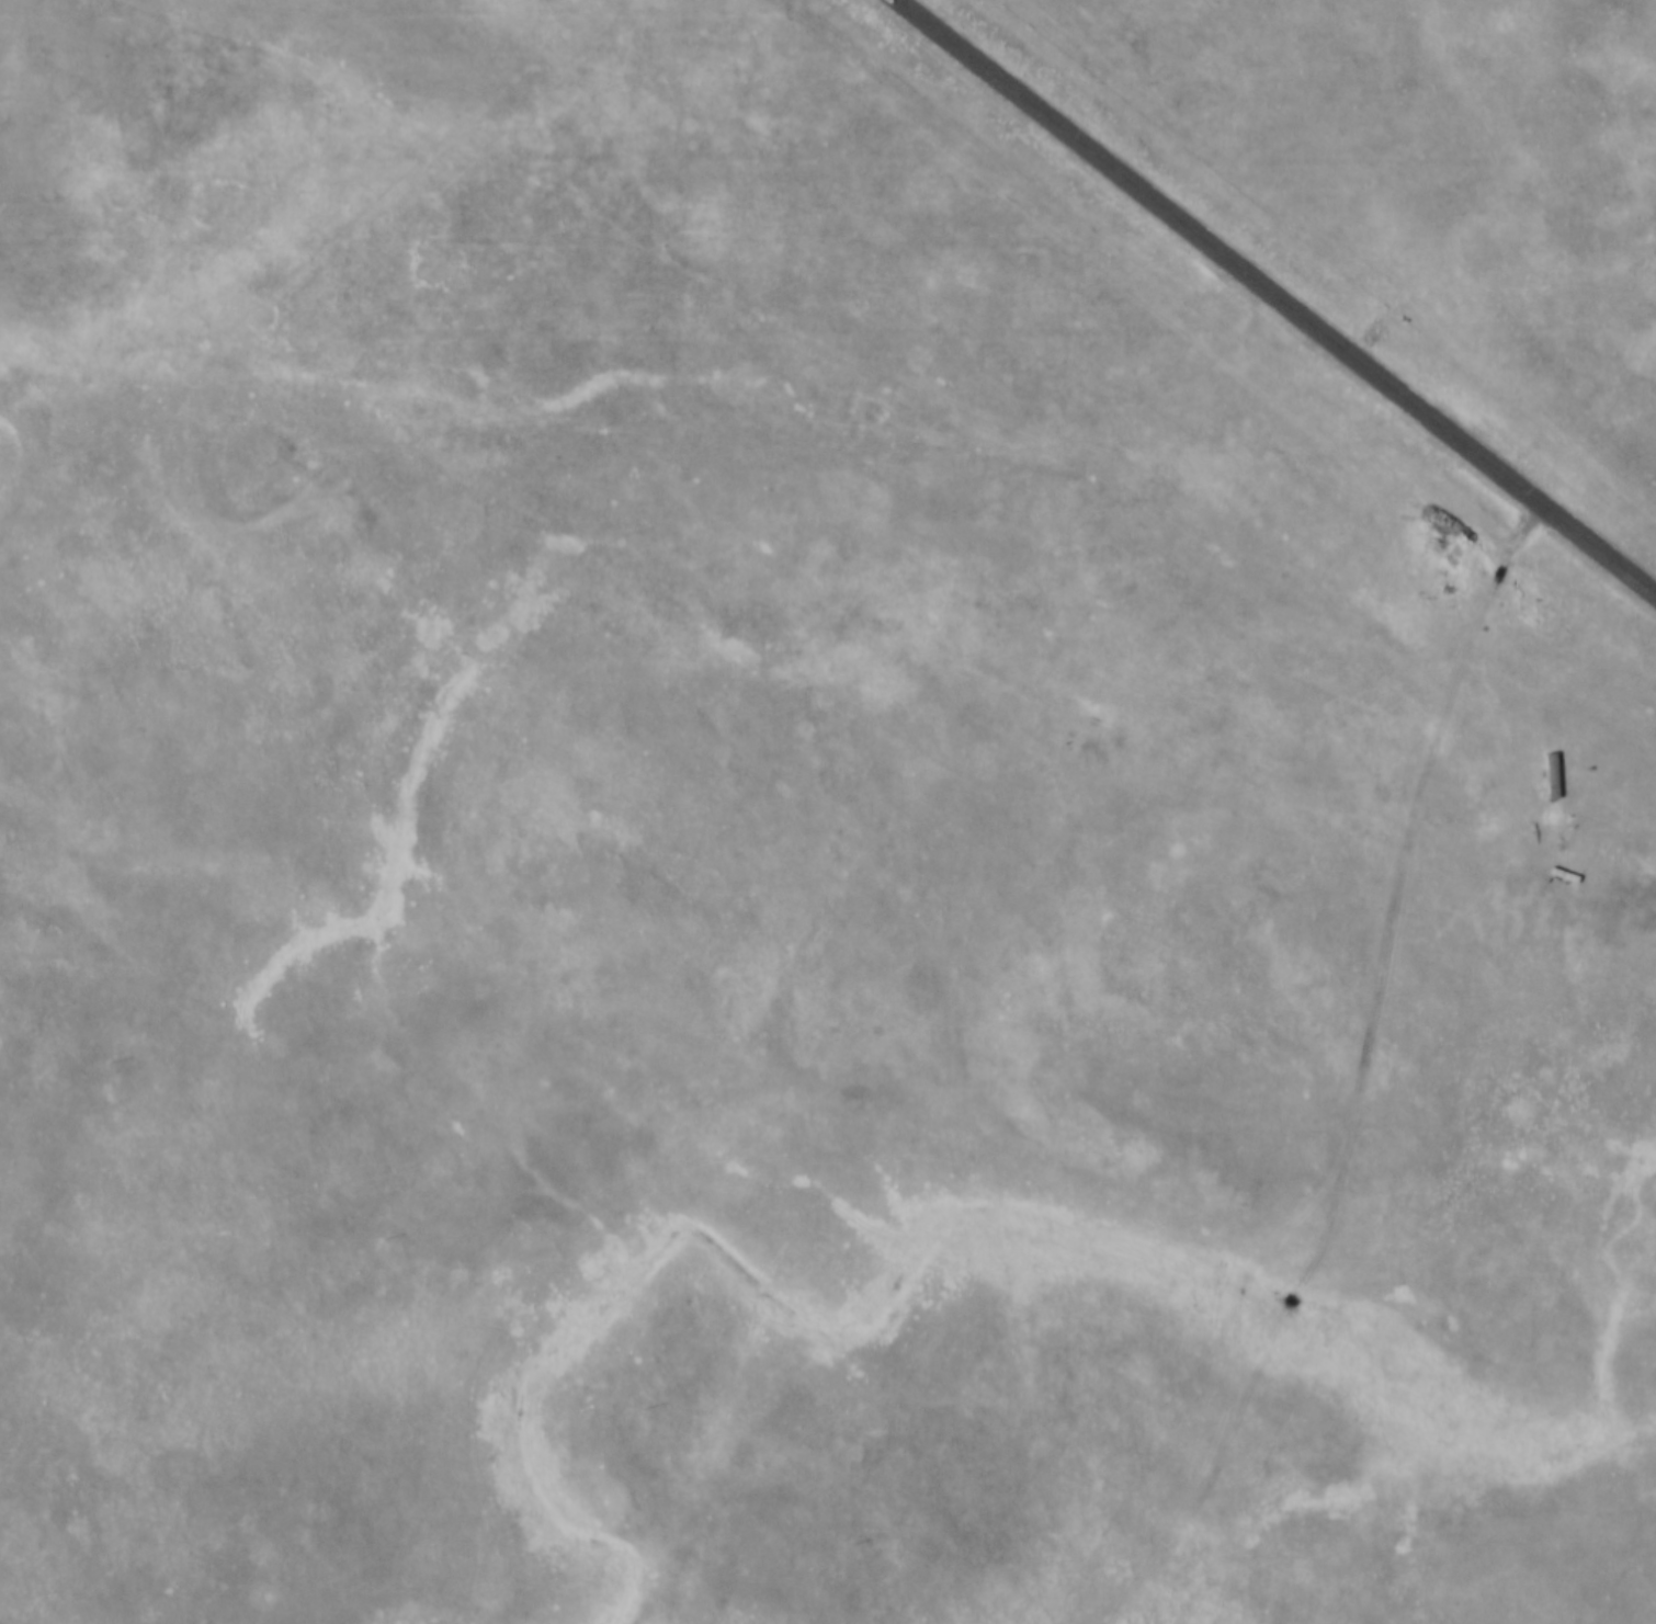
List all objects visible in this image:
road: (1280, 295)
building: (1468, 519)
building: (1427, 587)

